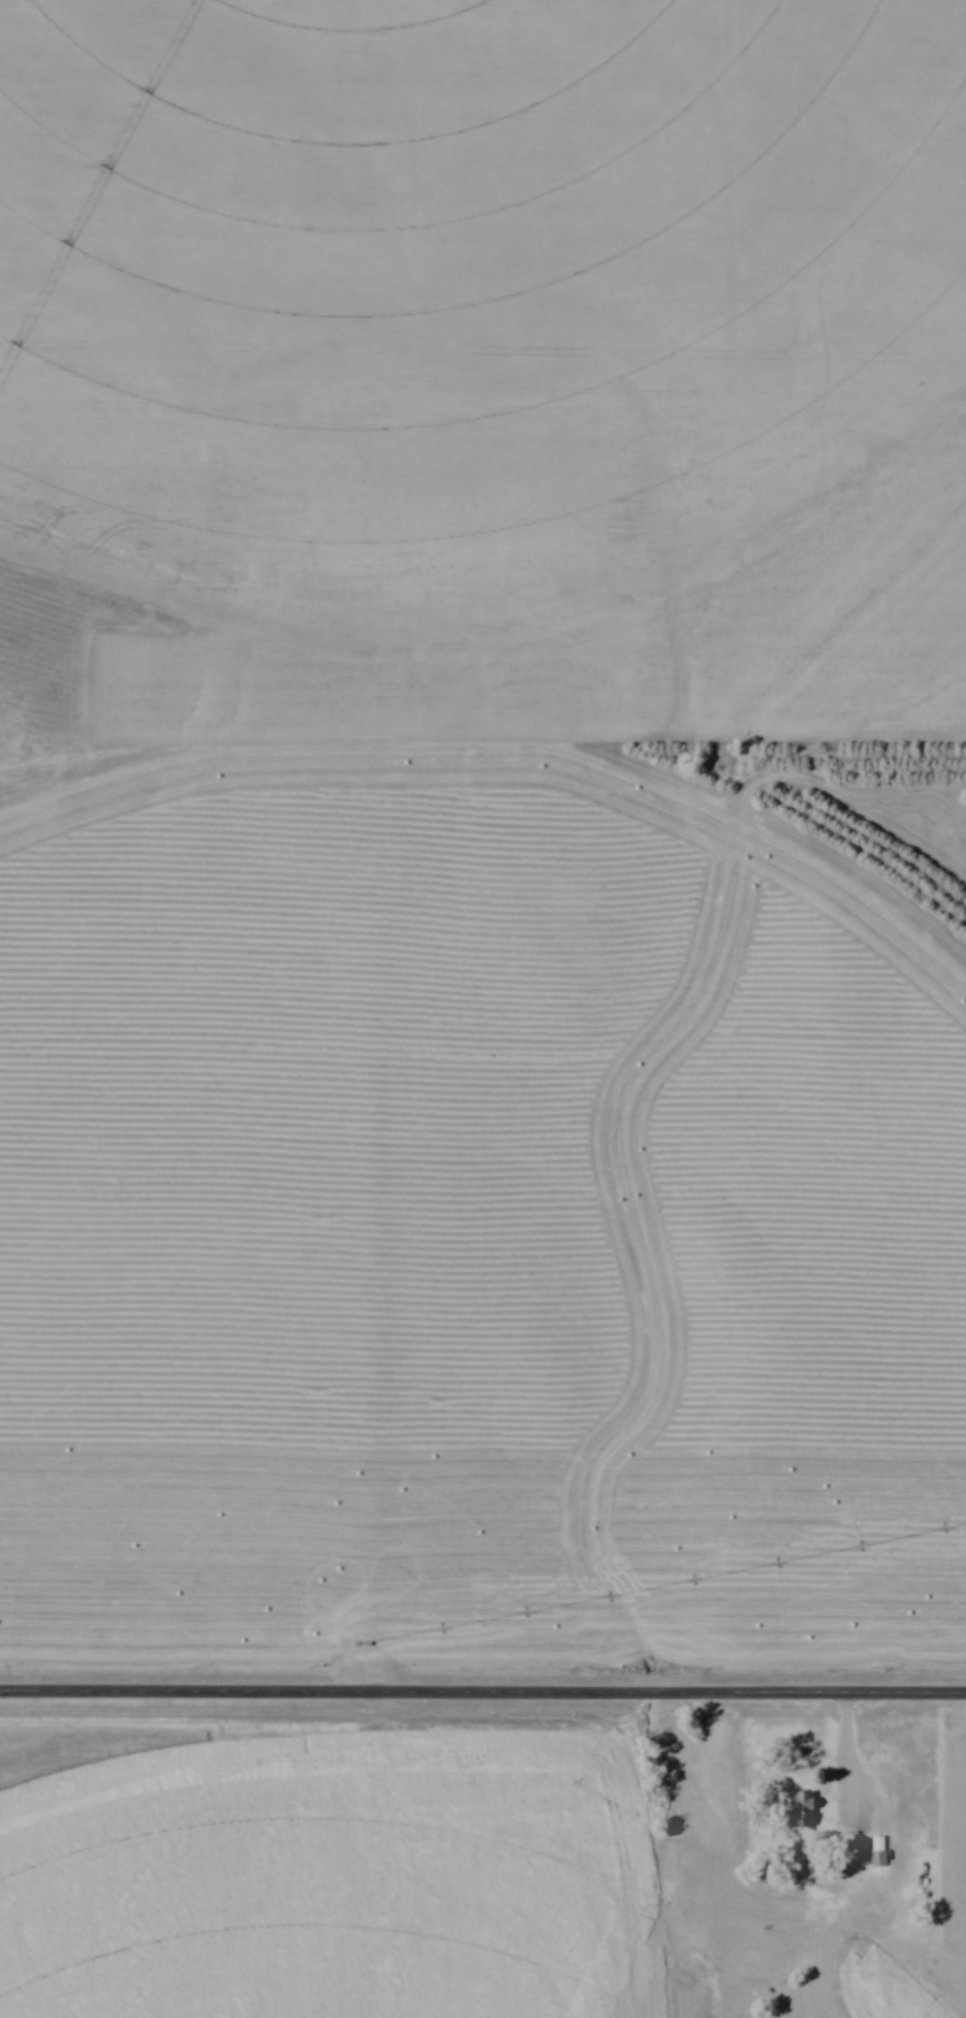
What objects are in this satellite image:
road: (483, 1690)
building: (798, 1809)
building: (877, 1851)

